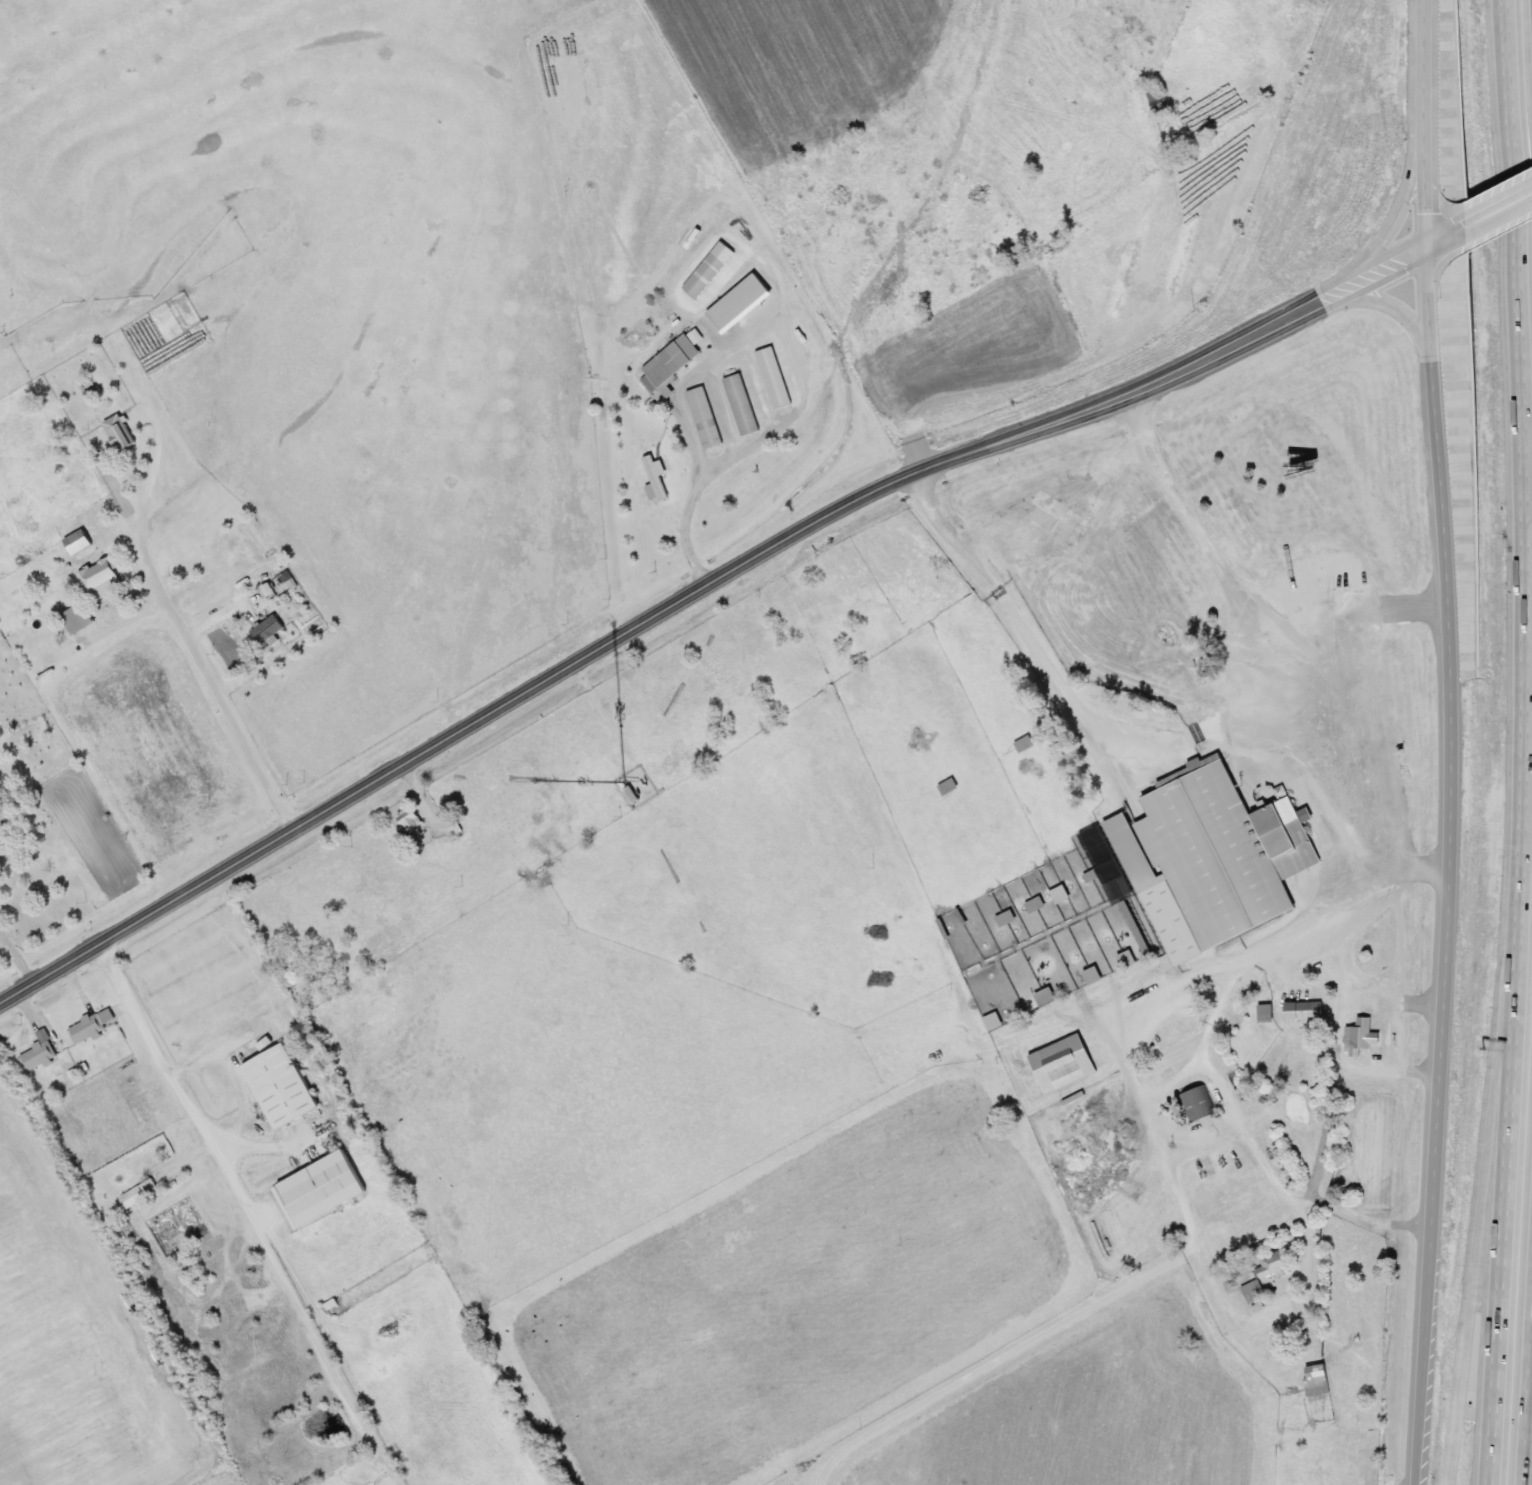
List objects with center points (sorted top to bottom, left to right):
building: (1153, 96)
road: (1412, 149)
road: (1496, 197)
road: (1499, 220)
building: (707, 269)
building: (744, 295)
road: (1395, 307)
road: (1197, 353)
building: (667, 362)
road: (1201, 369)
building: (772, 377)
building: (740, 404)
building: (703, 416)
building: (118, 433)
road: (1528, 452)
building: (654, 477)
building: (76, 541)
building: (253, 544)
building: (1344, 566)
building: (101, 579)
building: (53, 583)
road: (161, 588)
building: (77, 618)
building: (264, 626)
road: (1376, 726)
road: (459, 728)
road: (1452, 741)
building: (1023, 744)
building: (947, 786)
building: (630, 794)
building: (410, 819)
building: (2, 846)
building: (1213, 851)
building: (1034, 904)
building: (1005, 918)
building: (1126, 959)
building: (1092, 975)
building: (1045, 996)
building: (1305, 1010)
building: (1266, 1013)
building: (86, 1028)
building: (1361, 1035)
building: (38, 1055)
building: (1062, 1062)
building: (280, 1086)
building: (1196, 1104)
building: (319, 1189)
building: (138, 1192)
road: (1484, 1194)
road: (1511, 1195)
road: (1324, 1205)
road: (250, 1211)
building: (1265, 1272)
building: (1315, 1378)
road: (1529, 1426)
building: (1348, 1433)

